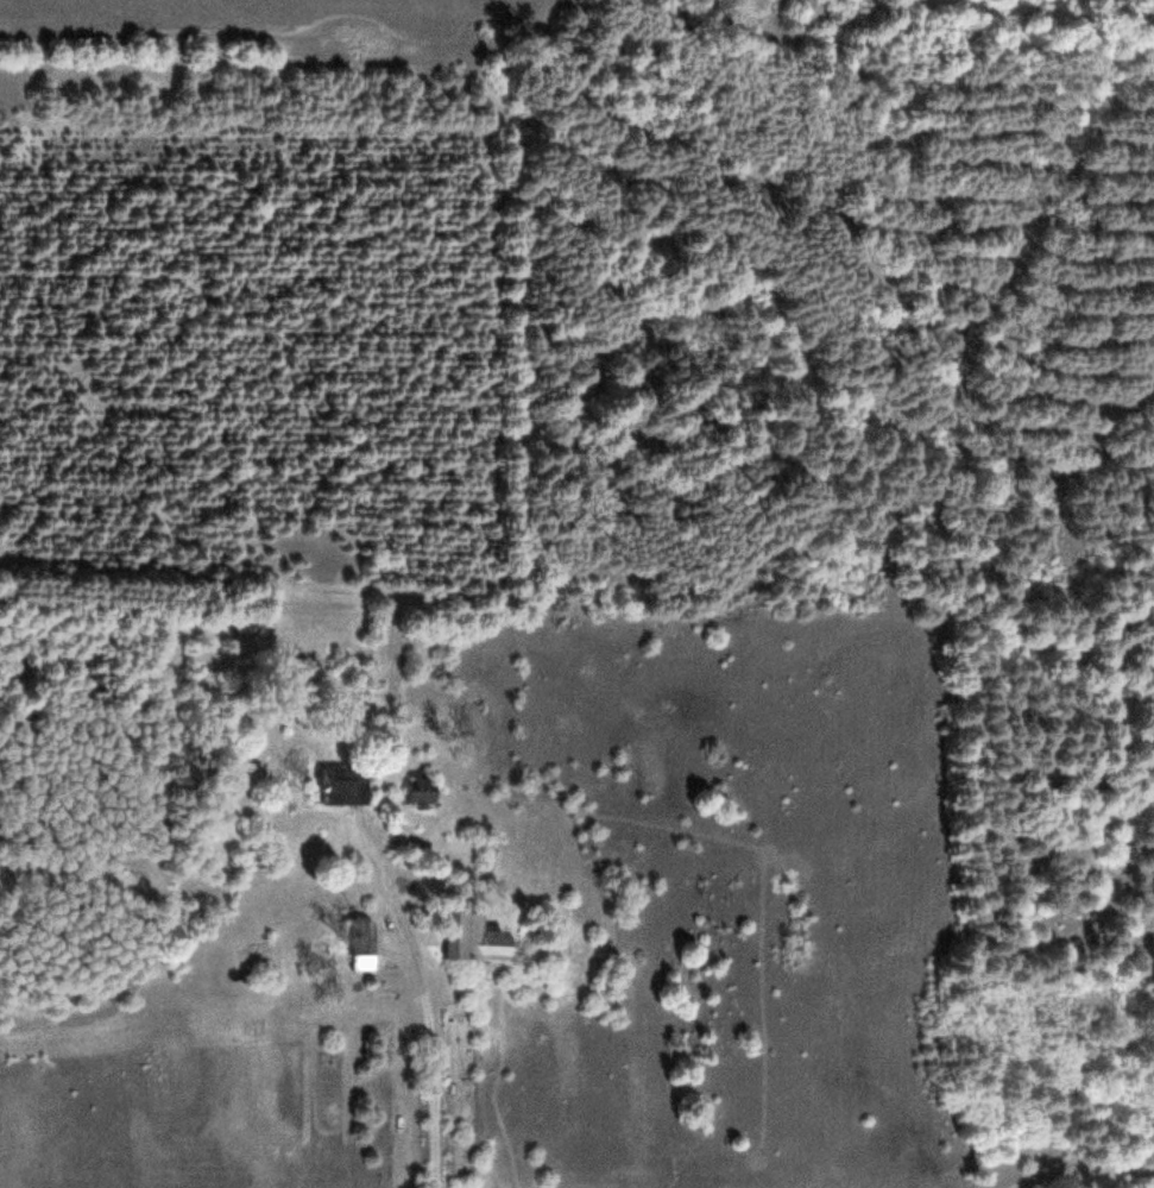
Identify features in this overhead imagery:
building: (352, 785)
building: (478, 936)
road: (424, 1000)
road: (1079, 1168)

